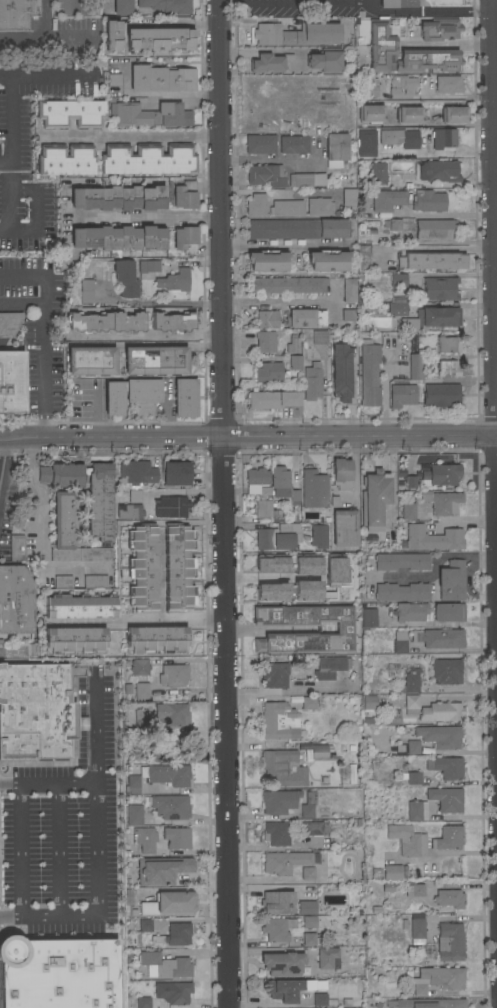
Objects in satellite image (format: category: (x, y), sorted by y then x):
road: (354, 2)
building: (397, 3)
building: (167, 5)
building: (122, 7)
building: (17, 13)
road: (171, 22)
building: (439, 28)
building: (296, 33)
building: (111, 34)
road: (36, 36)
building: (158, 38)
road: (452, 43)
building: (379, 44)
road: (266, 49)
building: (325, 59)
building: (427, 59)
building: (268, 62)
building: (160, 78)
road: (7, 79)
building: (113, 79)
building: (447, 83)
building: (401, 84)
building: (370, 88)
road: (156, 92)
road: (437, 95)
road: (175, 99)
road: (494, 104)
building: (70, 113)
building: (370, 113)
building: (407, 113)
building: (150, 114)
building: (453, 114)
building: (399, 137)
building: (443, 137)
road: (127, 138)
building: (366, 142)
building: (259, 143)
building: (293, 143)
building: (335, 148)
building: (148, 158)
road: (275, 158)
building: (65, 159)
building: (439, 170)
building: (377, 172)
building: (342, 173)
building: (265, 174)
building: (305, 179)
road: (441, 183)
road: (275, 191)
building: (184, 194)
building: (349, 196)
building: (117, 197)
building: (407, 199)
building: (255, 204)
building: (319, 205)
building: (285, 207)
road: (441, 213)
road: (141, 218)
building: (394, 224)
building: (296, 228)
building: (434, 228)
road: (3, 232)
road: (7, 233)
building: (118, 237)
building: (184, 238)
road: (281, 244)
building: (363, 257)
building: (432, 259)
building: (327, 260)
building: (266, 261)
building: (148, 265)
road: (494, 267)
building: (125, 278)
building: (174, 280)
building: (378, 282)
building: (286, 284)
building: (439, 288)
building: (349, 289)
building: (86, 290)
road: (275, 301)
road: (152, 302)
road: (22, 305)
building: (397, 308)
building: (347, 315)
building: (438, 315)
building: (305, 317)
building: (266, 319)
building: (9, 322)
building: (105, 322)
building: (171, 322)
building: (408, 324)
road: (43, 335)
building: (319, 336)
road: (144, 340)
building: (265, 340)
building: (291, 343)
building: (447, 343)
building: (154, 359)
building: (90, 360)
building: (294, 361)
building: (415, 366)
building: (447, 368)
building: (268, 371)
building: (340, 371)
building: (369, 372)
building: (311, 380)
building: (11, 381)
road: (384, 387)
building: (142, 393)
building: (440, 393)
building: (401, 394)
building: (184, 396)
building: (112, 397)
building: (272, 399)
road: (95, 414)
road: (491, 425)
road: (10, 437)
road: (259, 437)
road: (1, 447)
road: (353, 469)
building: (175, 472)
building: (136, 473)
building: (341, 473)
building: (440, 474)
building: (256, 475)
building: (410, 481)
building: (283, 484)
building: (313, 488)
building: (263, 492)
building: (132, 496)
building: (375, 498)
building: (442, 501)
road: (220, 504)
building: (170, 506)
building: (267, 509)
building: (408, 510)
building: (99, 511)
building: (129, 511)
road: (466, 521)
building: (344, 527)
road: (40, 529)
building: (71, 532)
building: (317, 534)
building: (433, 538)
building: (272, 539)
building: (16, 547)
building: (401, 560)
building: (270, 564)
road: (435, 564)
building: (305, 565)
building: (141, 567)
building: (177, 567)
building: (336, 570)
road: (267, 578)
building: (450, 580)
building: (62, 581)
building: (94, 581)
building: (305, 590)
building: (401, 591)
building: (270, 592)
building: (15, 599)
building: (80, 605)
building: (409, 611)
building: (448, 612)
building: (368, 617)
road: (134, 622)
road: (253, 628)
building: (344, 629)
building: (438, 637)
building: (74, 639)
building: (156, 639)
building: (399, 641)
building: (330, 666)
building: (139, 667)
building: (446, 671)
building: (273, 674)
building: (172, 675)
building: (141, 690)
building: (410, 693)
building: (368, 701)
building: (308, 702)
building: (35, 711)
building: (171, 713)
building: (139, 719)
building: (278, 720)
road: (94, 732)
building: (439, 735)
building: (412, 746)
building: (319, 750)
building: (151, 755)
building: (283, 766)
building: (445, 766)
building: (169, 774)
building: (413, 777)
building: (133, 778)
road: (47, 786)
building: (445, 798)
building: (278, 801)
building: (308, 804)
building: (170, 806)
building: (416, 810)
building: (133, 814)
building: (315, 827)
building: (275, 833)
building: (176, 837)
building: (447, 837)
building: (144, 838)
building: (407, 839)
road: (57, 851)
road: (18, 852)
road: (446, 852)
building: (283, 861)
building: (161, 869)
building: (394, 871)
building: (307, 872)
building: (413, 888)
building: (448, 897)
road: (96, 898)
building: (277, 901)
building: (168, 903)
building: (306, 906)
building: (309, 921)
building: (144, 924)
building: (276, 928)
building: (416, 930)
building: (175, 933)
building: (311, 938)
building: (449, 941)
building: (327, 957)
building: (282, 962)
building: (164, 964)
building: (57, 973)
building: (437, 978)
building: (290, 988)
building: (173, 991)
building: (323, 999)
building: (143, 1002)
building: (426, 1003)

